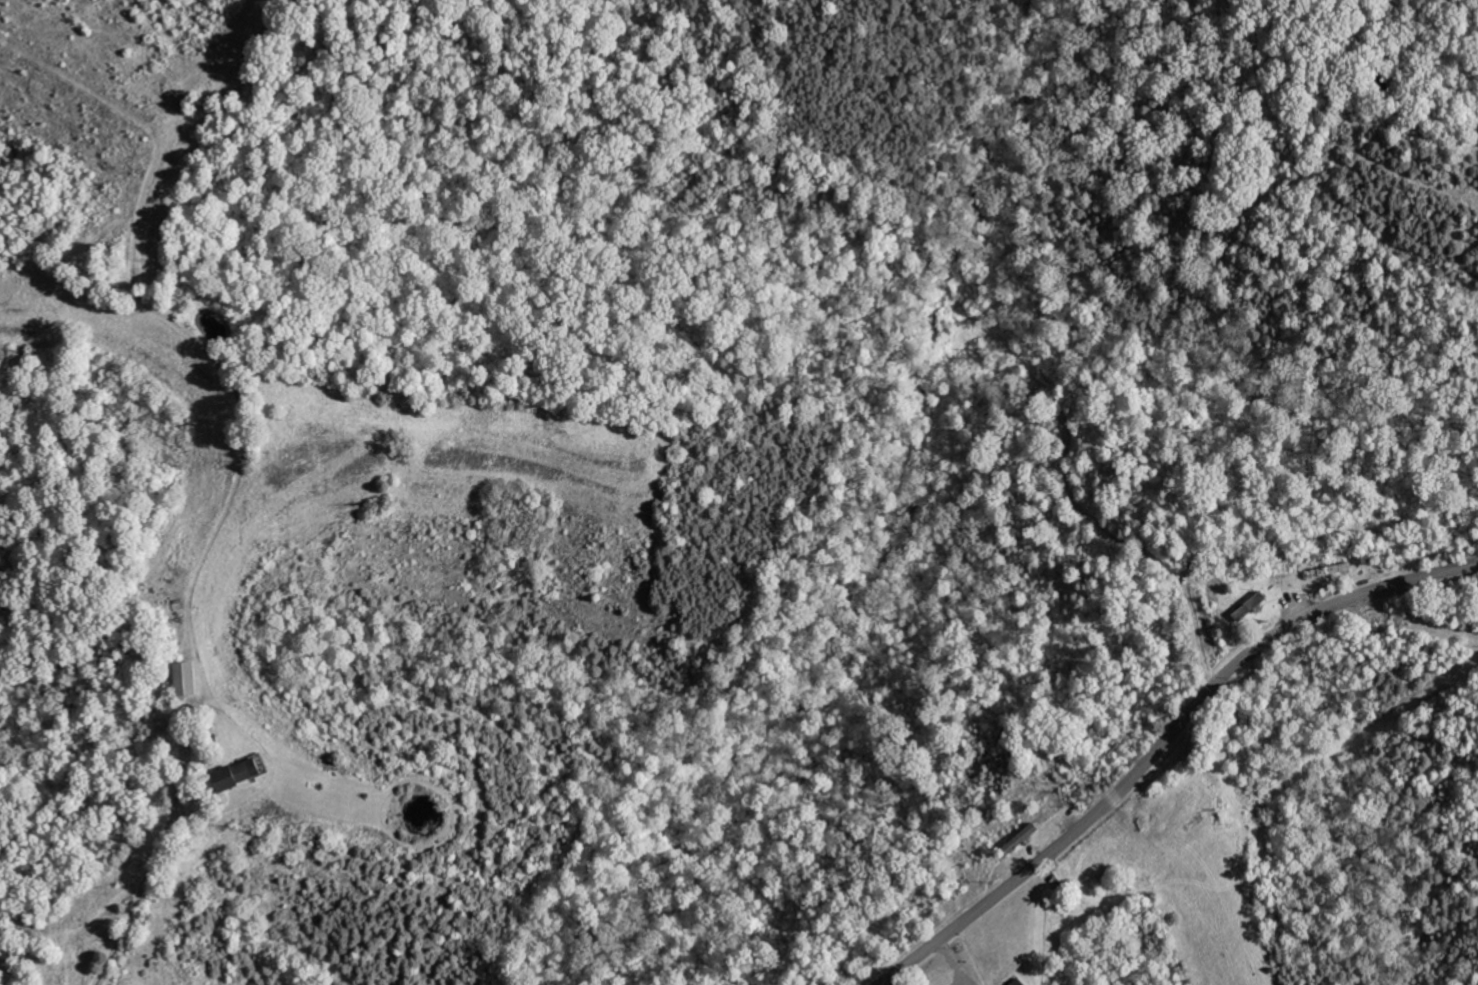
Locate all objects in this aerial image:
road: (1160, 742)
building: (242, 773)
road: (152, 861)
building: (1021, 982)

